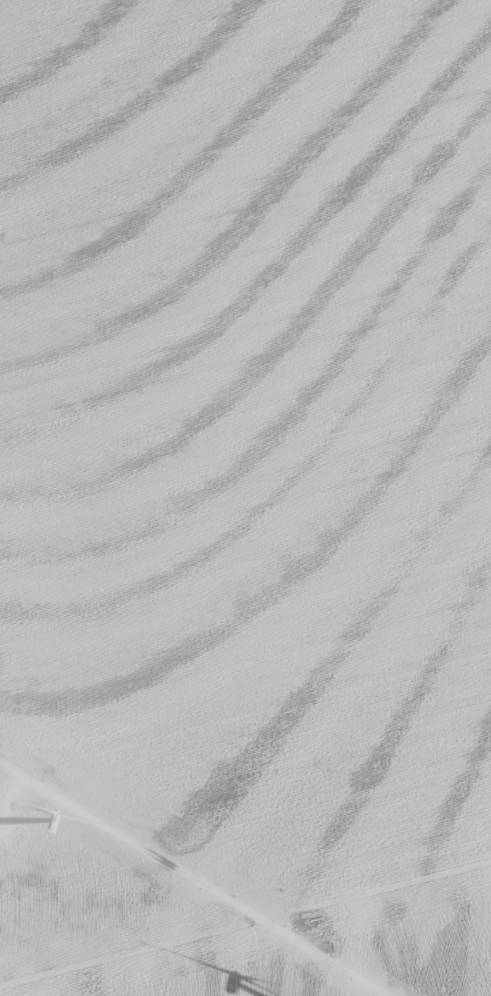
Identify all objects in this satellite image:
road: (187, 880)

